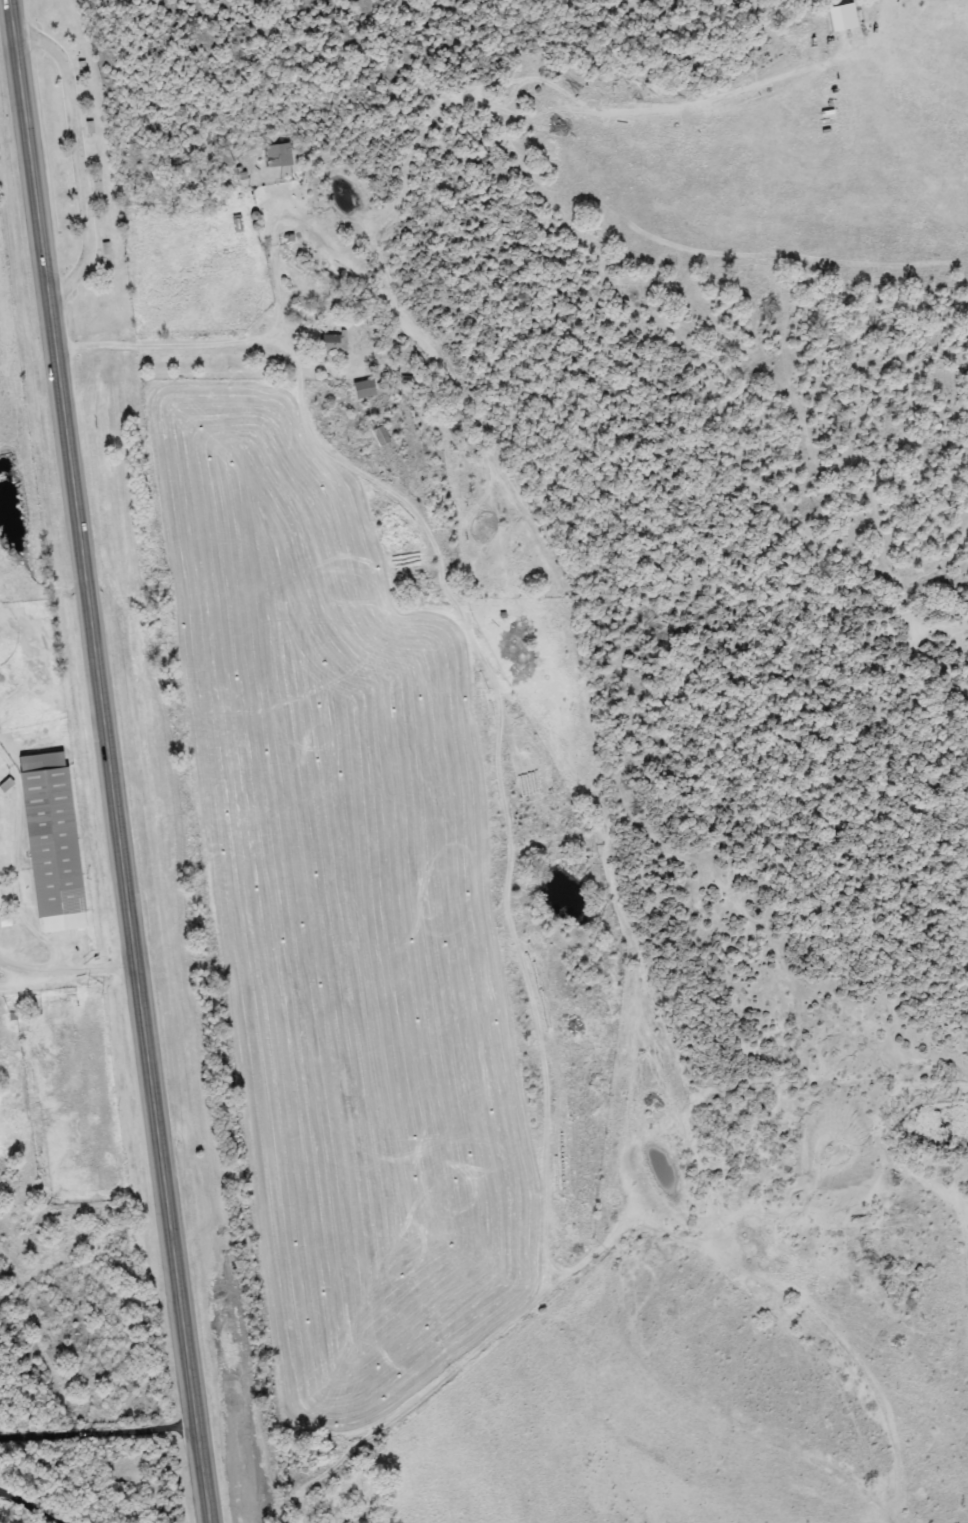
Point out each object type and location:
road: (81, 152)
building: (274, 155)
road: (170, 341)
building: (331, 343)
building: (362, 389)
building: (379, 436)
road: (108, 761)
railway: (176, 763)
building: (49, 842)
road: (66, 964)
road: (475, 1338)
road: (97, 1427)
road: (27, 1508)

